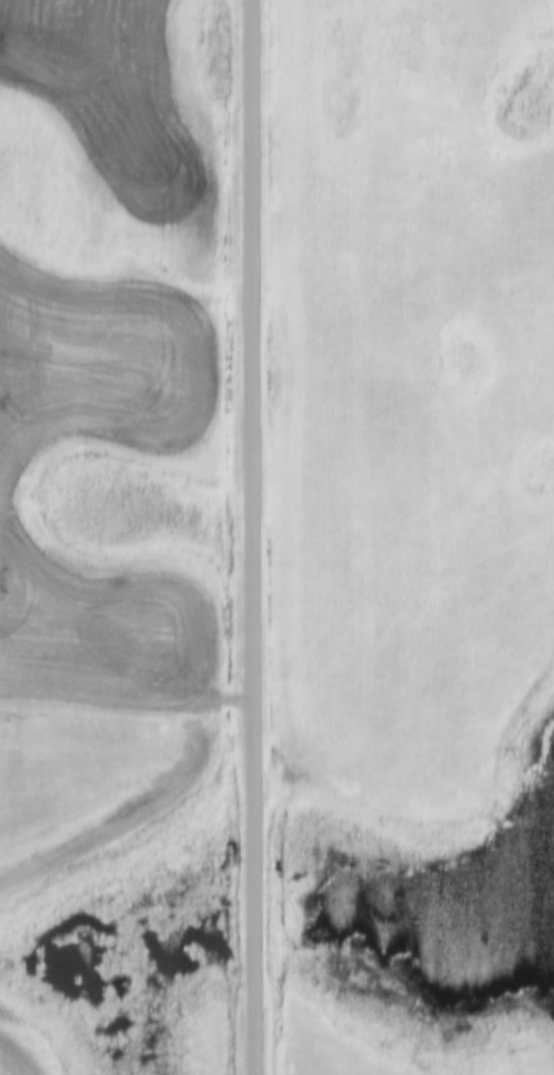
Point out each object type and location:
road: (251, 537)

